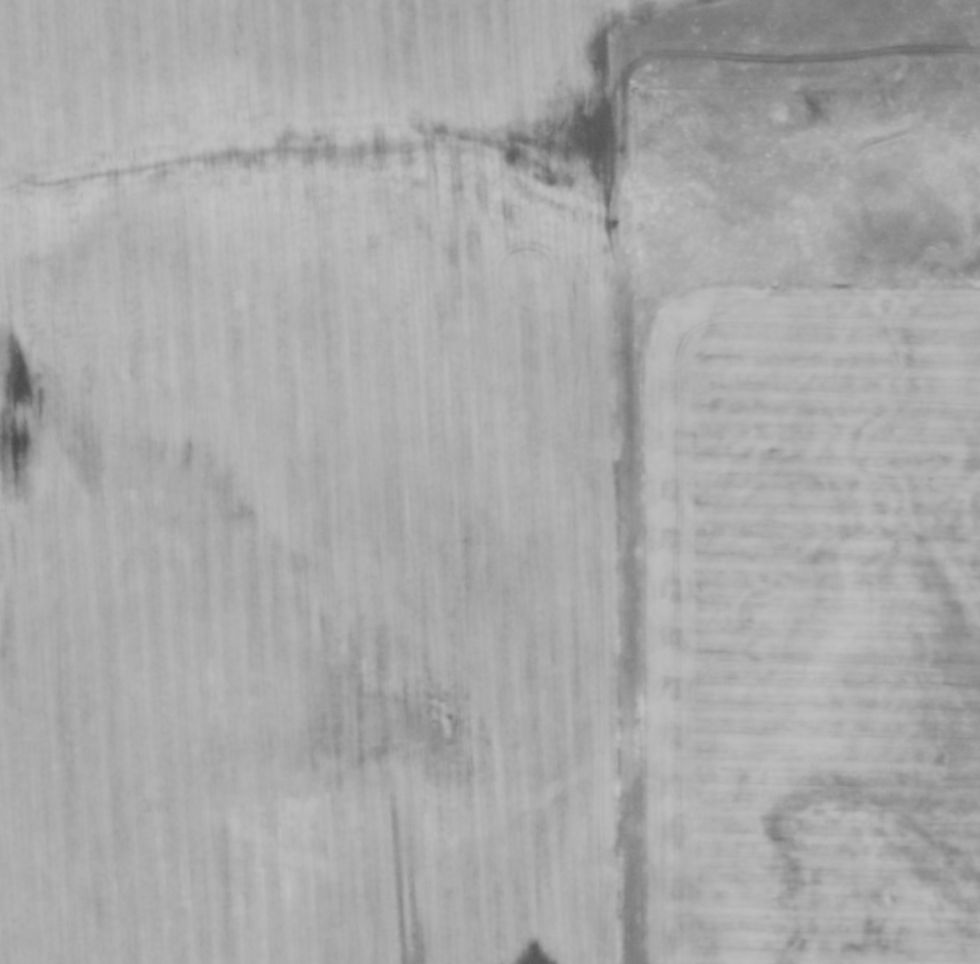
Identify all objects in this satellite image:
road: (854, 54)
road: (633, 425)

